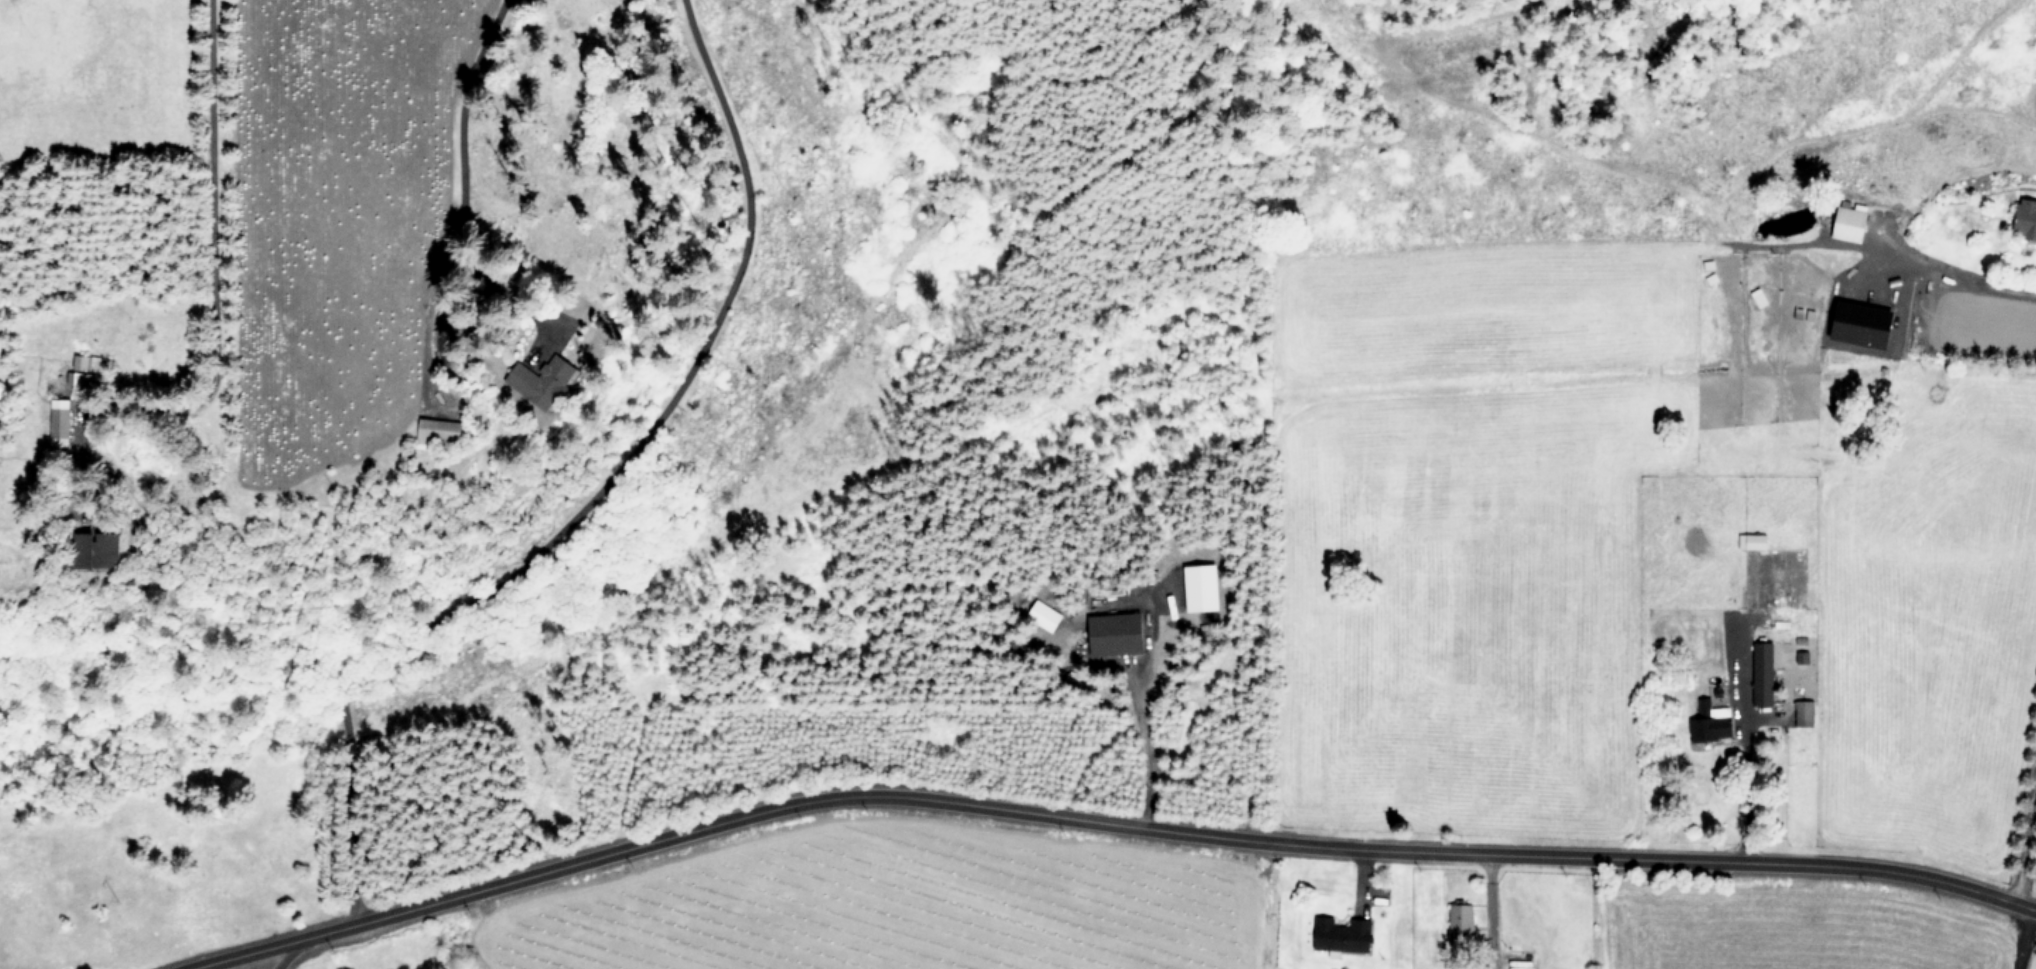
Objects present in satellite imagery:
road: (454, 119)
road: (209, 210)
building: (2028, 217)
building: (1849, 222)
road: (1984, 291)
road: (505, 292)
building: (1760, 296)
building: (1864, 324)
road: (426, 327)
building: (544, 382)
building: (59, 421)
building: (438, 429)
road: (593, 496)
building: (1754, 541)
building: (99, 549)
building: (1119, 633)
building: (1764, 671)
building: (1806, 713)
building: (1712, 721)
road: (1142, 742)
road: (1747, 767)
road: (2020, 824)
road: (1161, 829)
road: (1486, 910)
building: (1462, 919)
building: (1343, 935)
road: (2016, 937)
road: (287, 952)
road: (245, 953)
building: (1520, 967)

